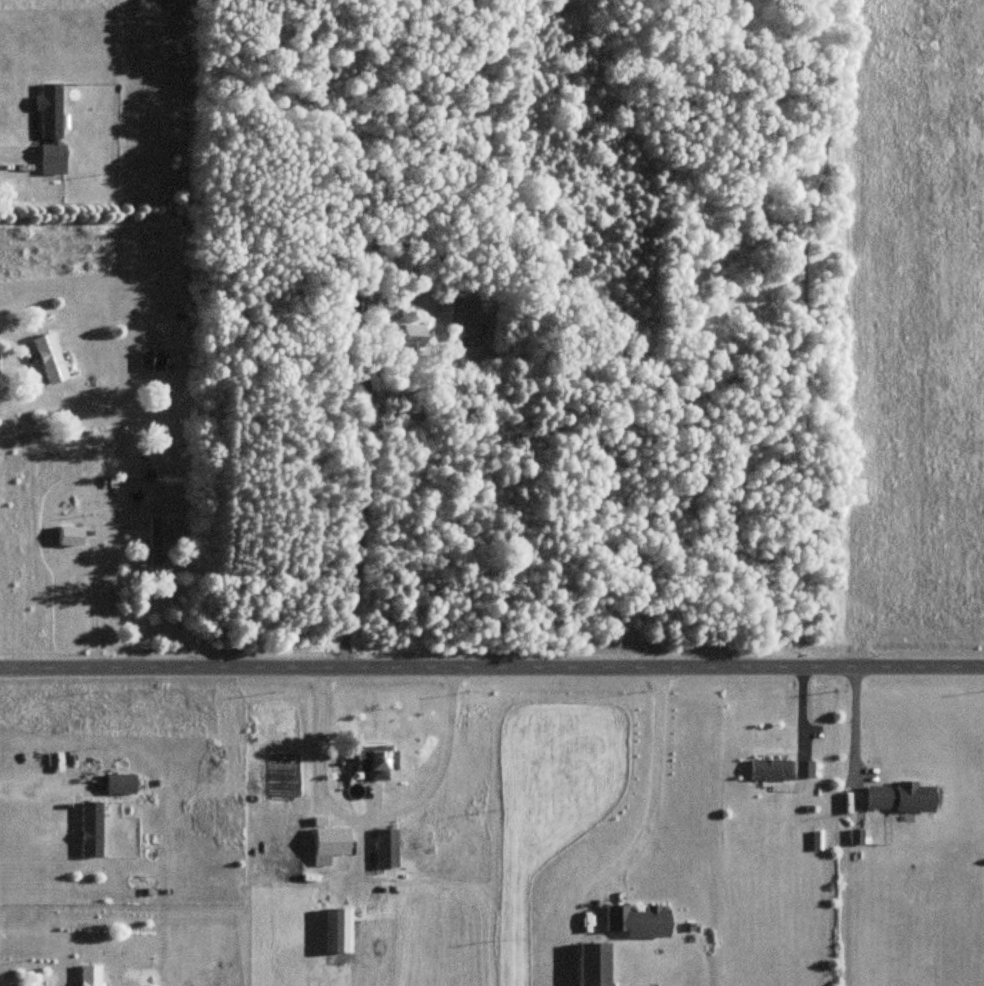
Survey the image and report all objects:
building: (50, 129)
road: (15, 155)
building: (349, 311)
building: (411, 346)
building: (49, 359)
building: (152, 362)
road: (356, 514)
road: (105, 540)
building: (153, 542)
road: (491, 668)
road: (850, 726)
building: (376, 761)
building: (768, 770)
building: (802, 770)
road: (651, 778)
road: (36, 790)
building: (899, 798)
road: (373, 821)
building: (90, 829)
building: (330, 841)
building: (385, 848)
building: (637, 921)
building: (336, 930)
building: (593, 964)
building: (89, 976)

